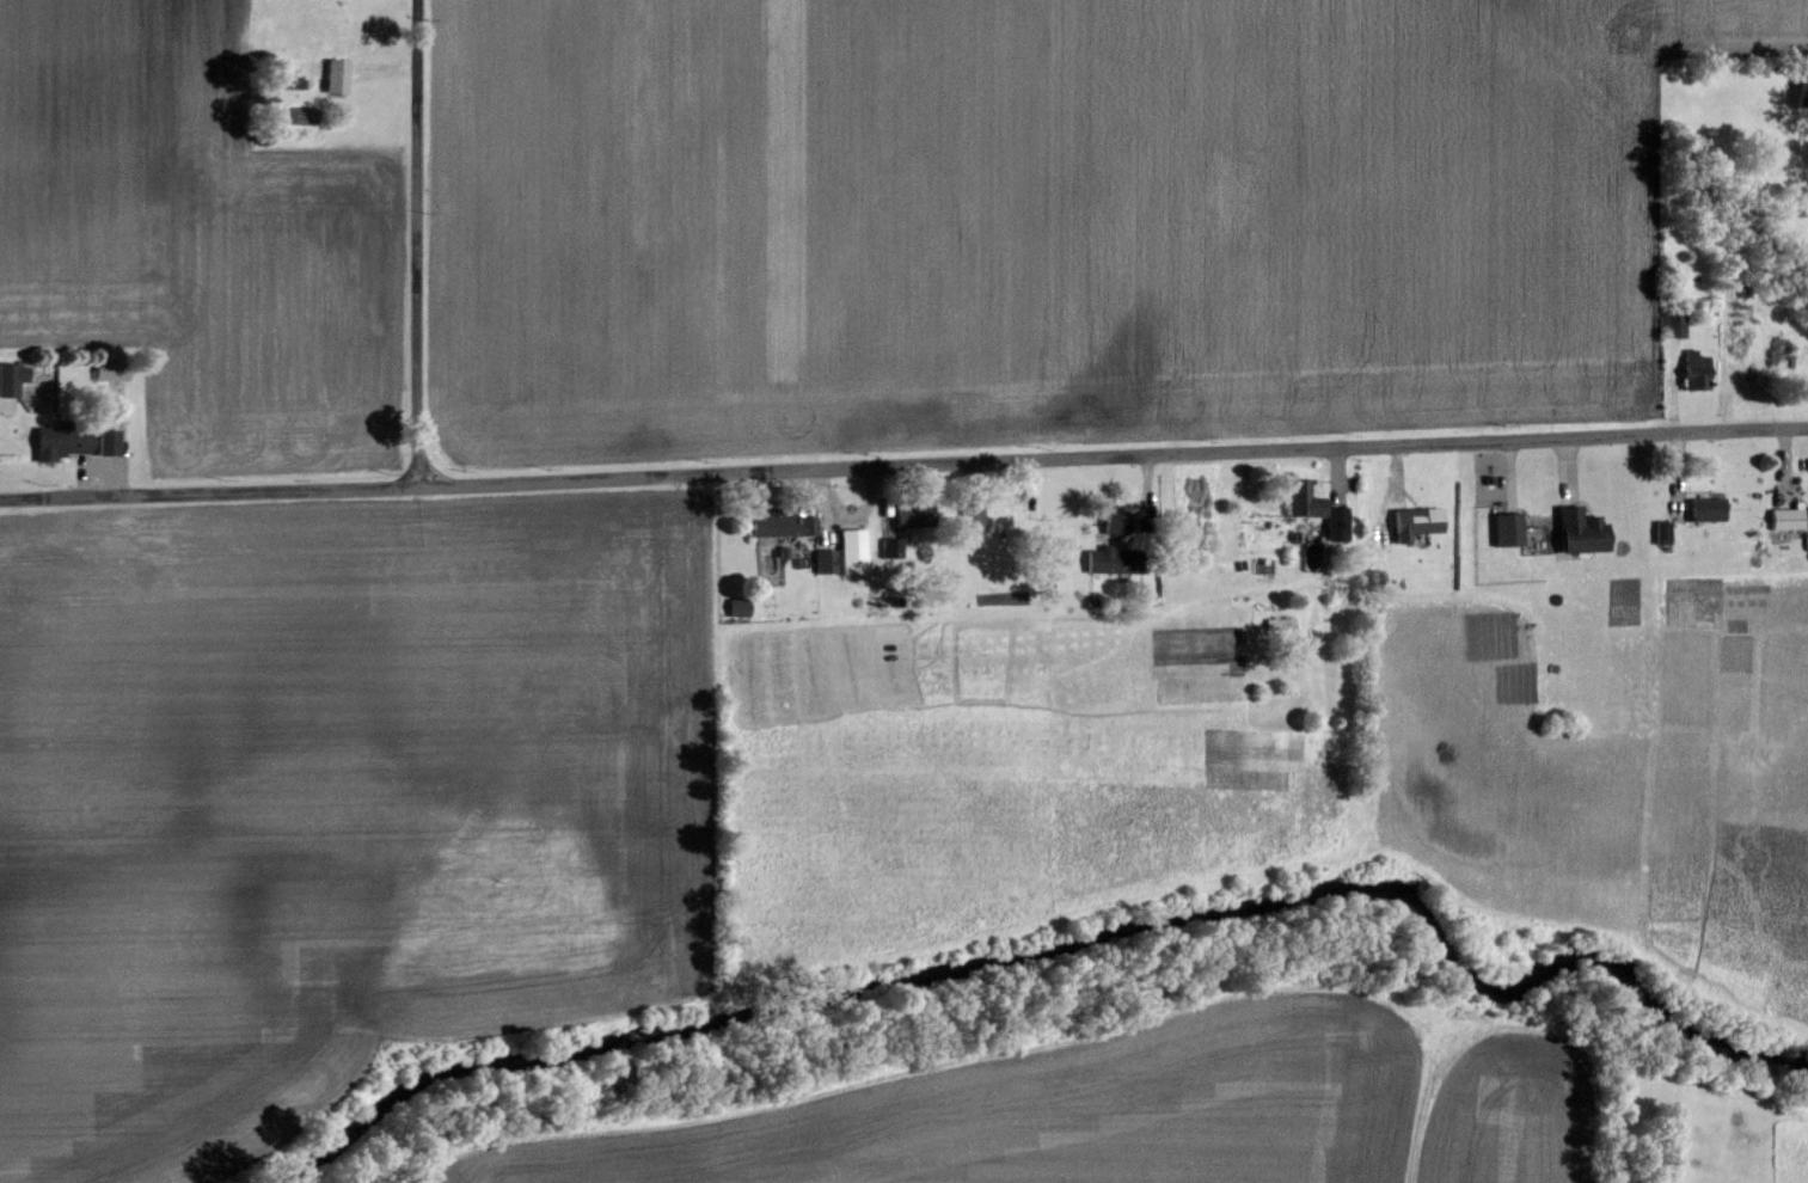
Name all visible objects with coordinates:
building: (338, 75)
road: (415, 243)
building: (1677, 325)
building: (109, 370)
building: (1698, 370)
building: (12, 378)
building: (65, 441)
building: (108, 441)
road: (1111, 460)
road: (208, 491)
building: (1318, 508)
building: (1709, 508)
building: (914, 513)
building: (975, 517)
building: (1789, 517)
building: (1127, 521)
building: (1417, 522)
building: (783, 523)
building: (1510, 528)
building: (1583, 531)
building: (1663, 532)
building: (893, 547)
building: (854, 550)
building: (826, 560)
building: (1115, 560)
building: (1371, 577)
building: (740, 606)

